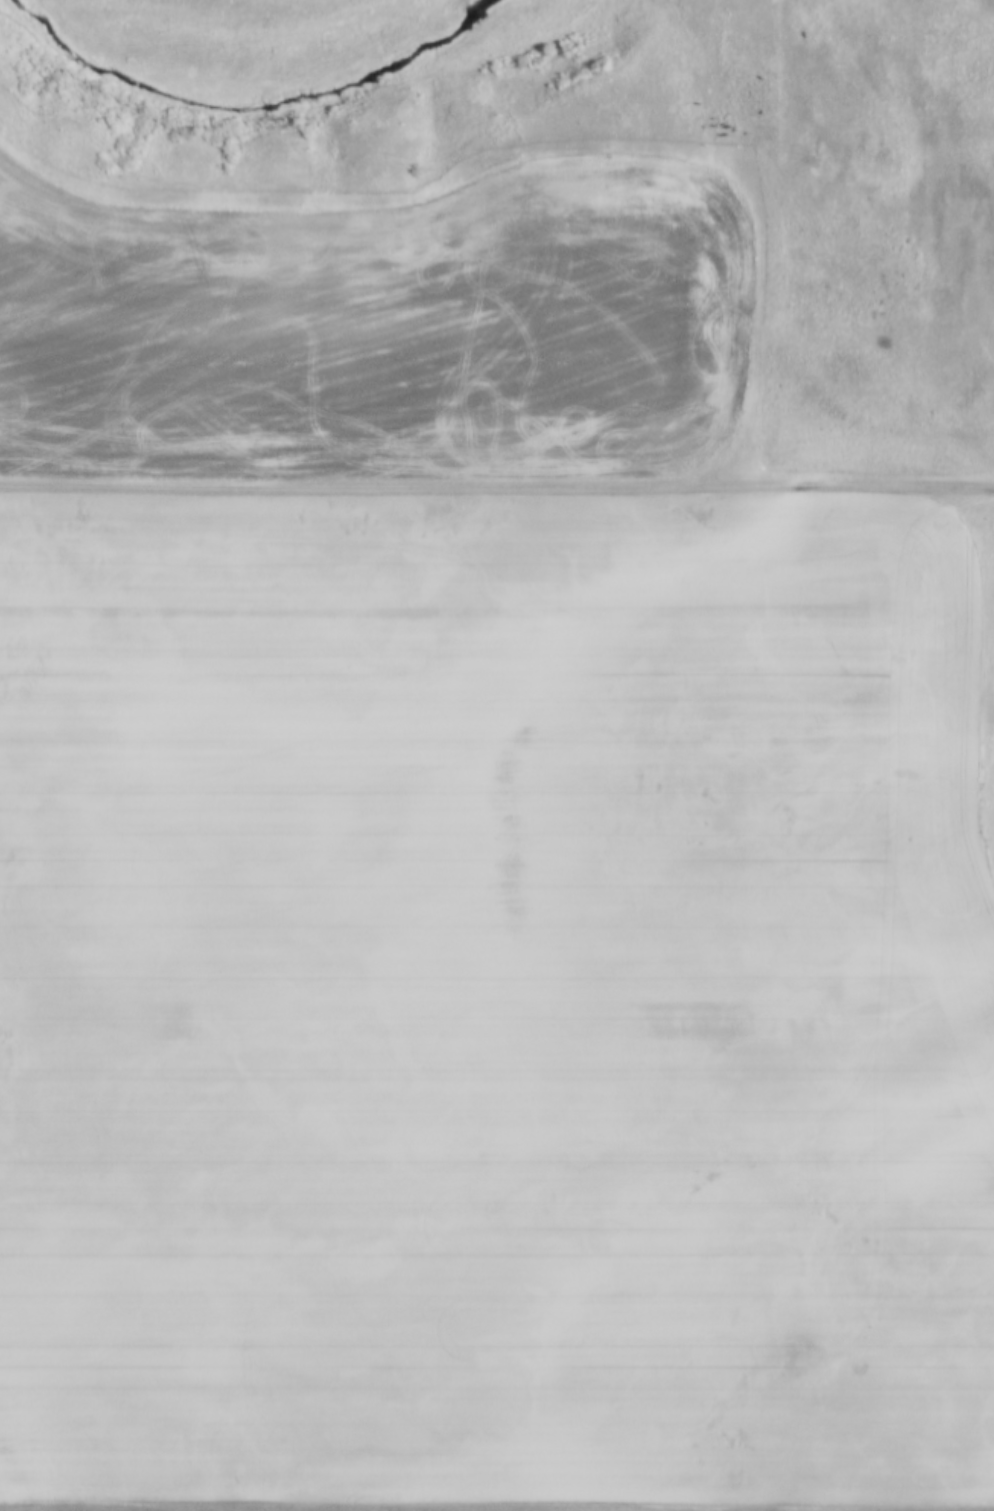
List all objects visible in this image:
road: (497, 486)

